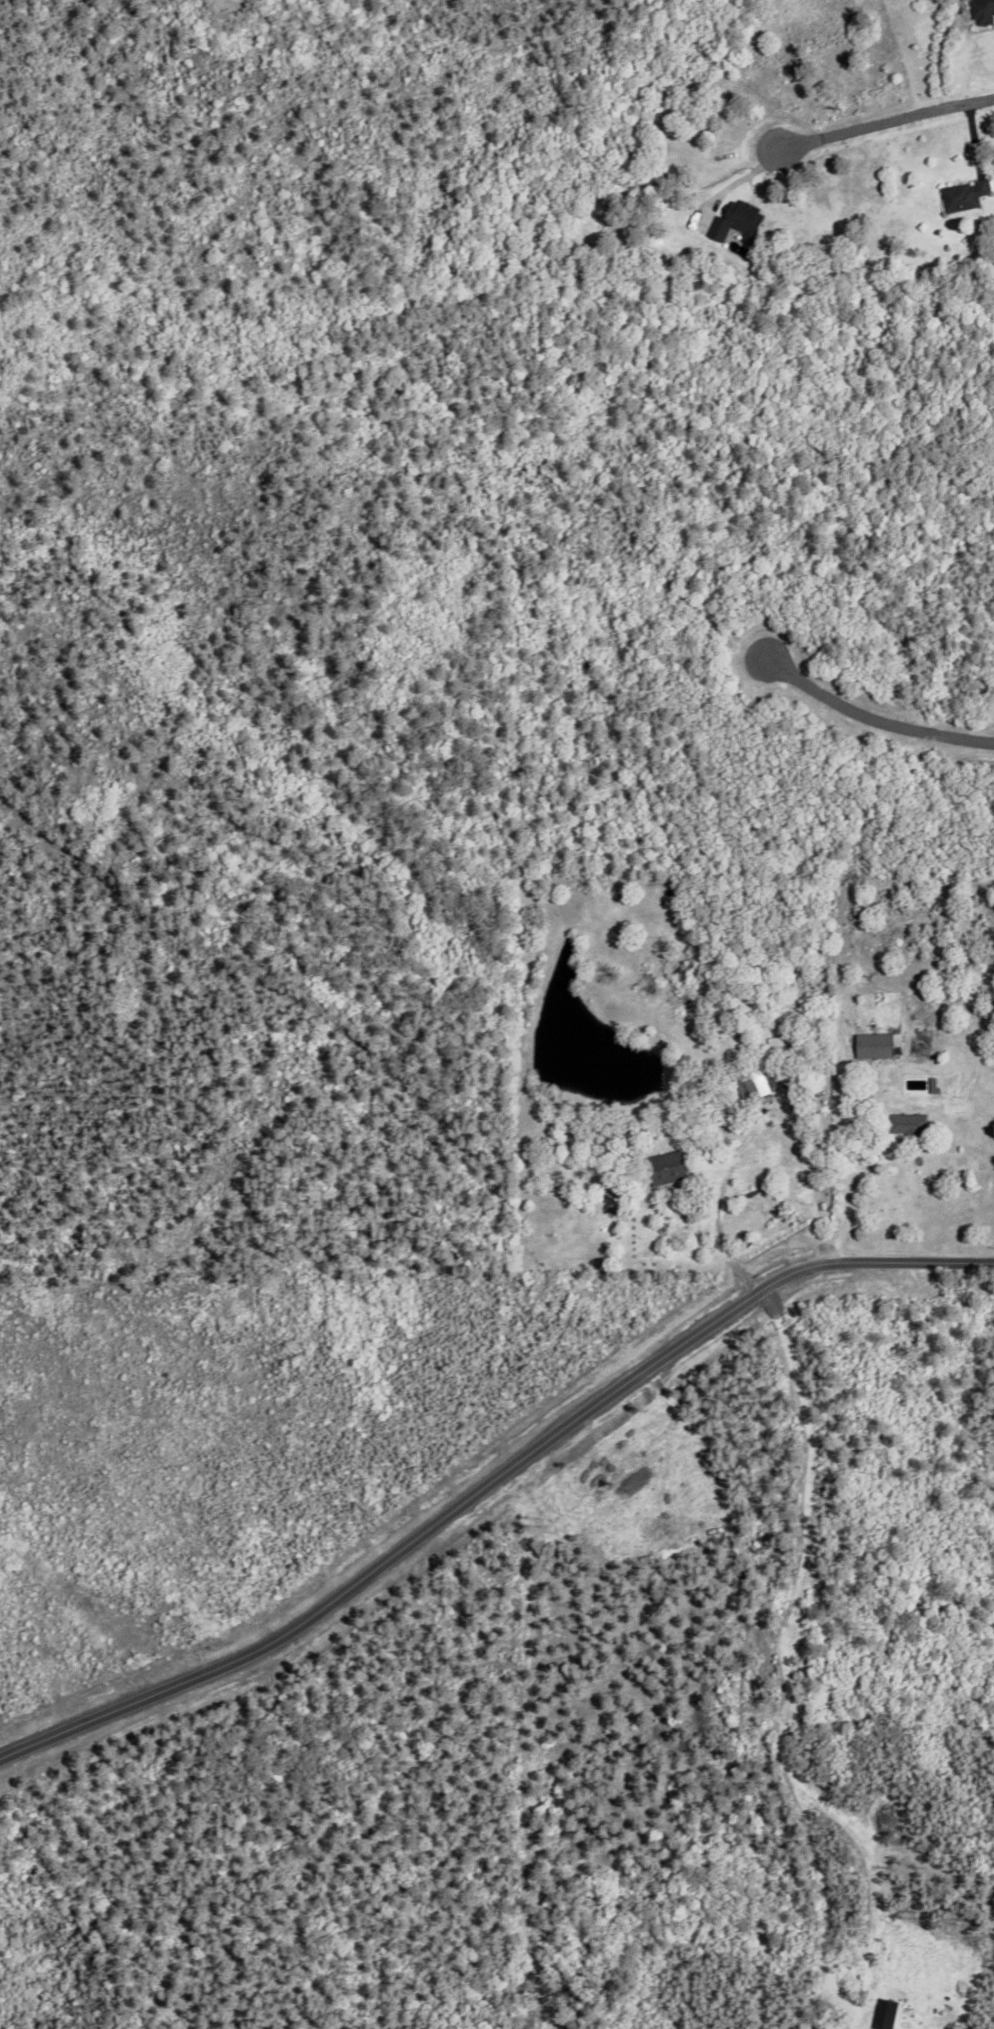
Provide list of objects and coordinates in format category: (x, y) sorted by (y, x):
building: (981, 10)
road: (939, 59)
road: (866, 129)
building: (962, 193)
building: (735, 219)
road: (873, 719)
building: (872, 1046)
building: (907, 1065)
building: (754, 1084)
building: (905, 1124)
building: (666, 1168)
road: (849, 1176)
building: (642, 1215)
road: (718, 1224)
road: (493, 1484)

